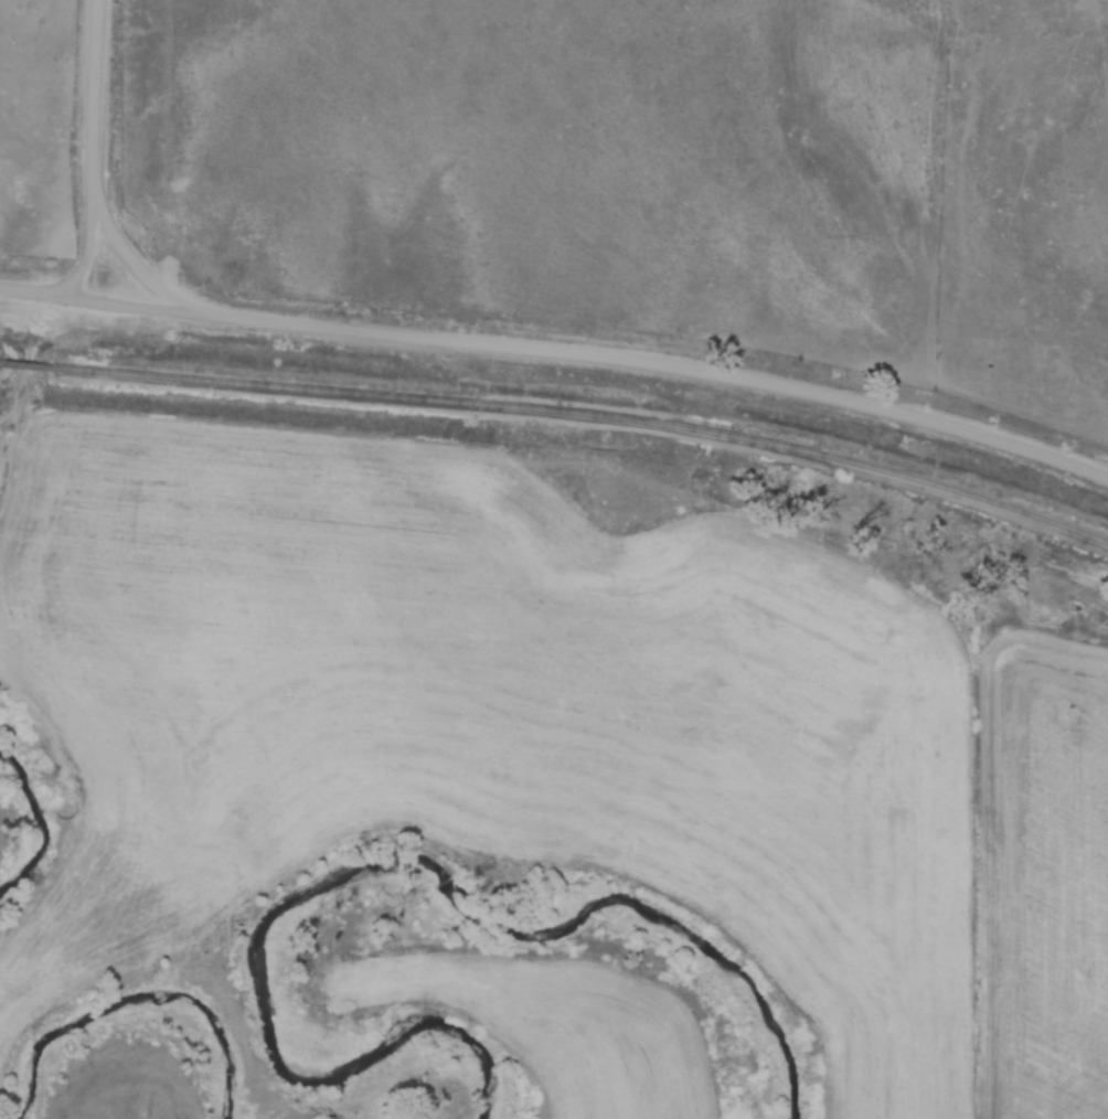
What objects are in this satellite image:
road: (82, 181)
road: (560, 351)
railway: (0, 363)
railway: (26, 366)
railway: (587, 417)

